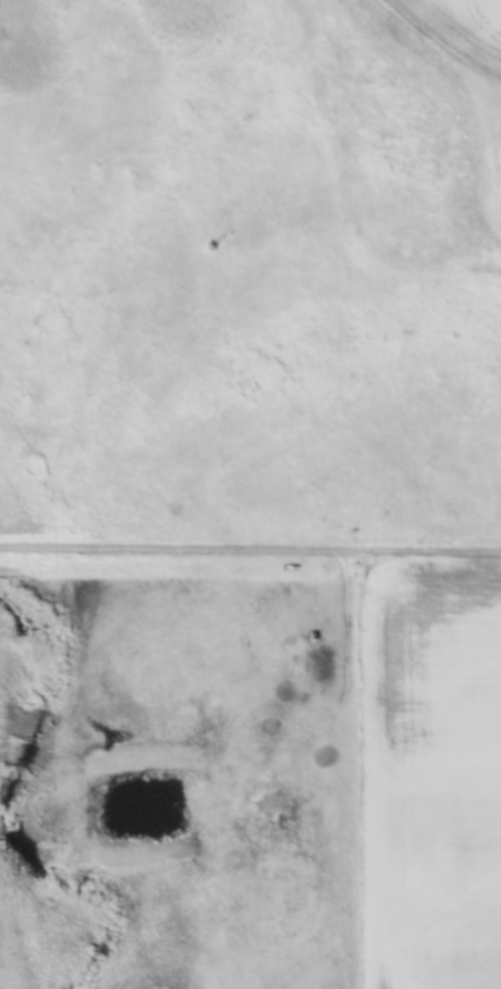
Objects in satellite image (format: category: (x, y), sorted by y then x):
road: (250, 545)

